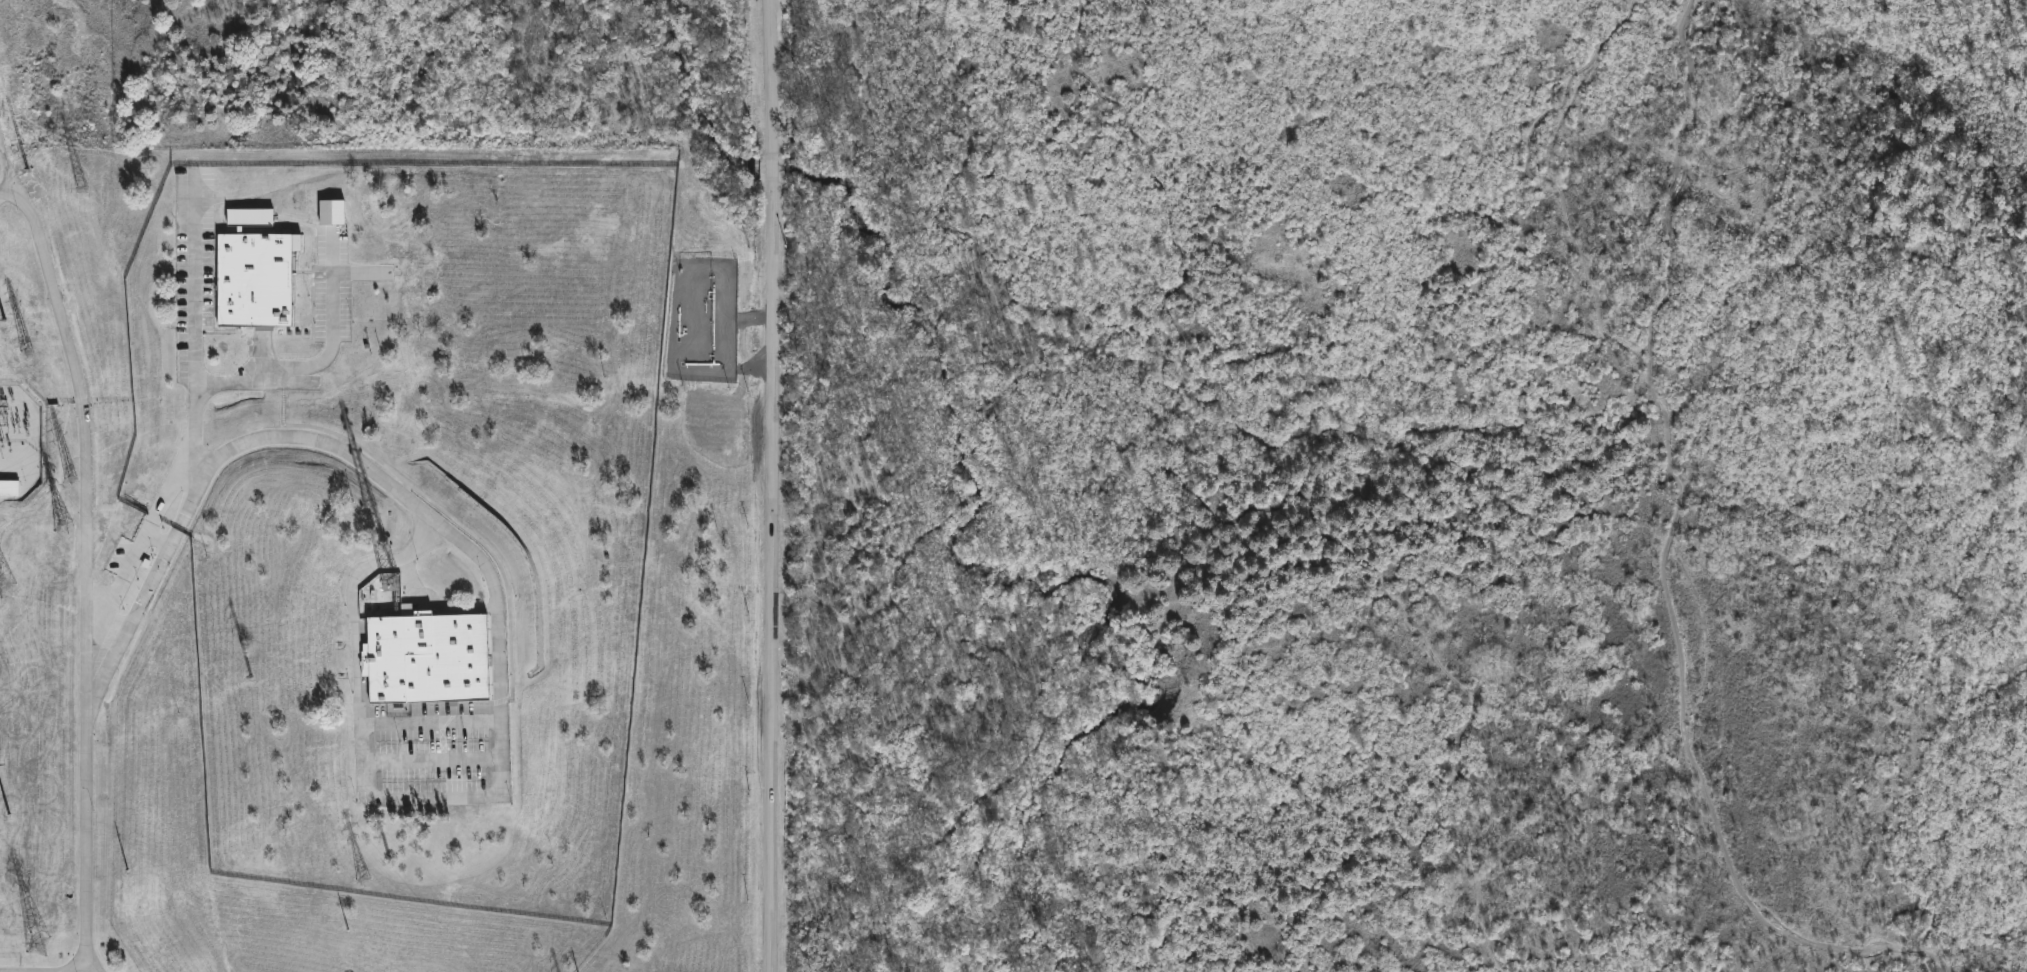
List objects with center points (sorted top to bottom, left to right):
power tower: (84, 188)
road: (9, 192)
building: (251, 217)
building: (257, 279)
power tower: (1, 305)
road: (198, 329)
power tower: (30, 351)
road: (324, 358)
power tower: (73, 481)
road: (773, 485)
building: (10, 488)
power tower: (70, 526)
road: (90, 550)
road: (497, 600)
building: (430, 659)
road: (433, 722)
road: (435, 760)
building: (461, 787)
power tower: (369, 881)
power tower: (49, 947)

